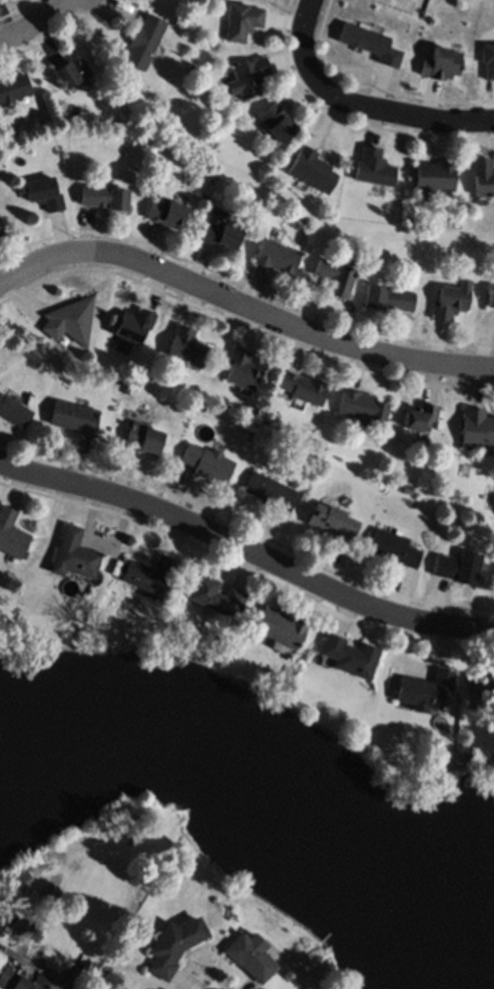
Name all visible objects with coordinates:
building: (243, 19)
road: (33, 24)
building: (143, 40)
building: (370, 42)
building: (488, 59)
building: (441, 63)
building: (189, 66)
building: (69, 71)
building: (250, 75)
building: (14, 88)
road: (362, 103)
building: (276, 121)
building: (45, 122)
building: (146, 126)
building: (372, 165)
building: (310, 168)
building: (433, 175)
building: (482, 177)
building: (43, 193)
building: (103, 196)
building: (166, 212)
building: (219, 229)
building: (2, 230)
building: (275, 254)
building: (335, 276)
building: (490, 295)
building: (387, 296)
building: (450, 300)
road: (243, 304)
building: (70, 320)
building: (133, 323)
building: (185, 345)
building: (240, 369)
building: (303, 387)
building: (127, 388)
building: (360, 405)
building: (14, 410)
building: (418, 416)
building: (73, 417)
building: (476, 427)
building: (141, 437)
building: (206, 461)
building: (270, 490)
building: (330, 519)
building: (11, 533)
building: (393, 548)
road: (246, 551)
building: (73, 555)
building: (457, 566)
building: (149, 574)
building: (213, 595)
building: (278, 625)
building: (348, 655)
building: (482, 687)
building: (423, 688)
river: (263, 795)
building: (18, 879)
building: (173, 945)
building: (247, 954)
building: (15, 980)

